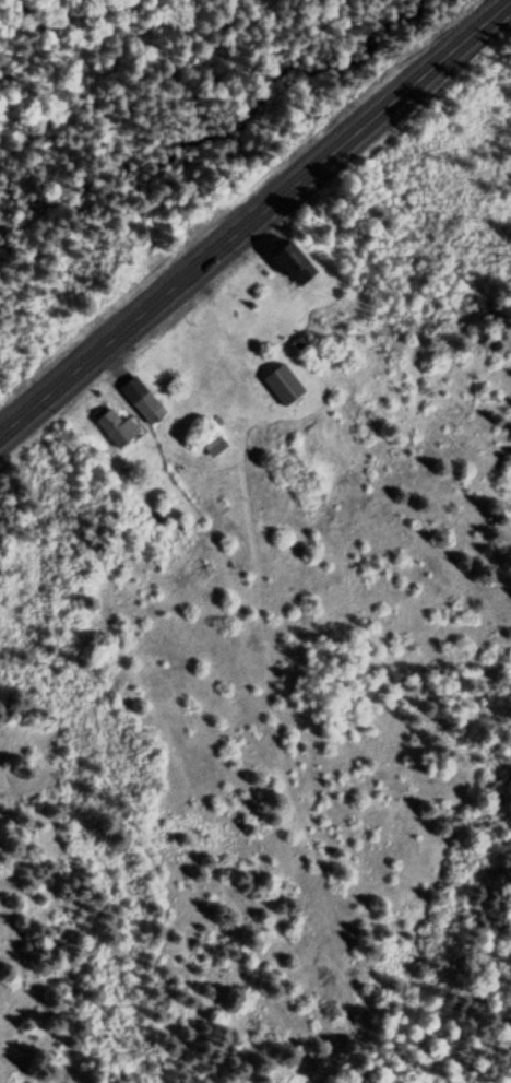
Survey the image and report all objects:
river: (488, 14)
river: (152, 137)
road: (254, 216)
building: (283, 386)
building: (141, 401)
building: (117, 429)

